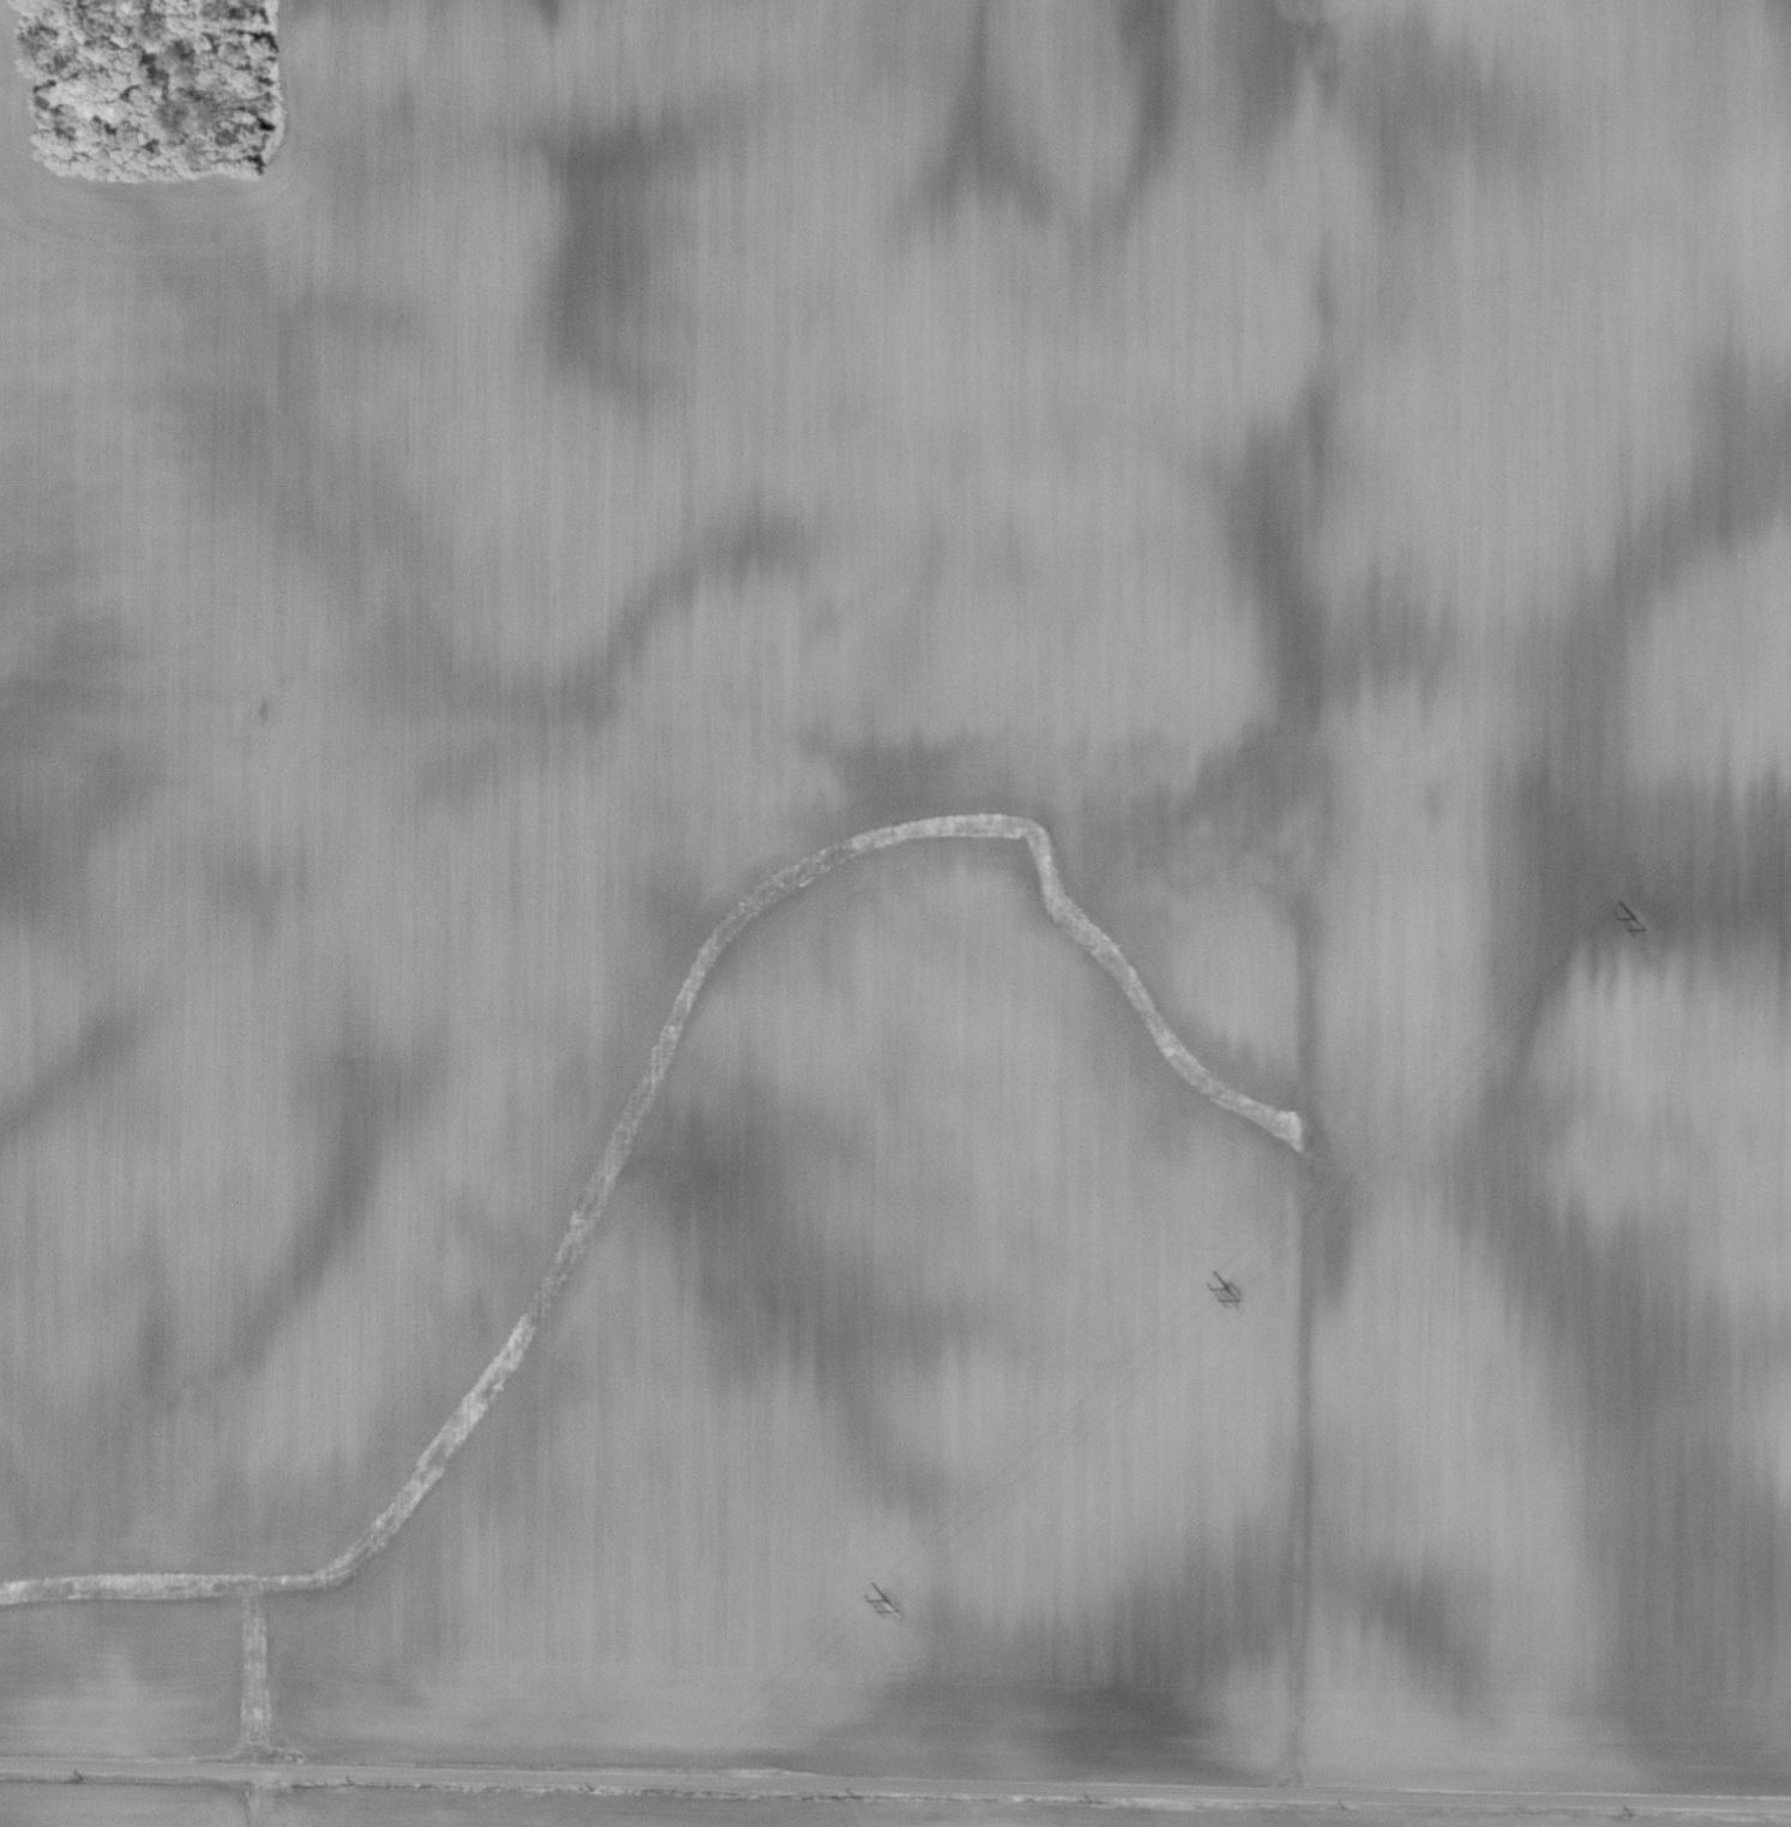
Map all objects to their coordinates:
power tower: (1639, 926)
power tower: (1232, 1298)
power tower: (893, 1607)
road: (895, 1784)

